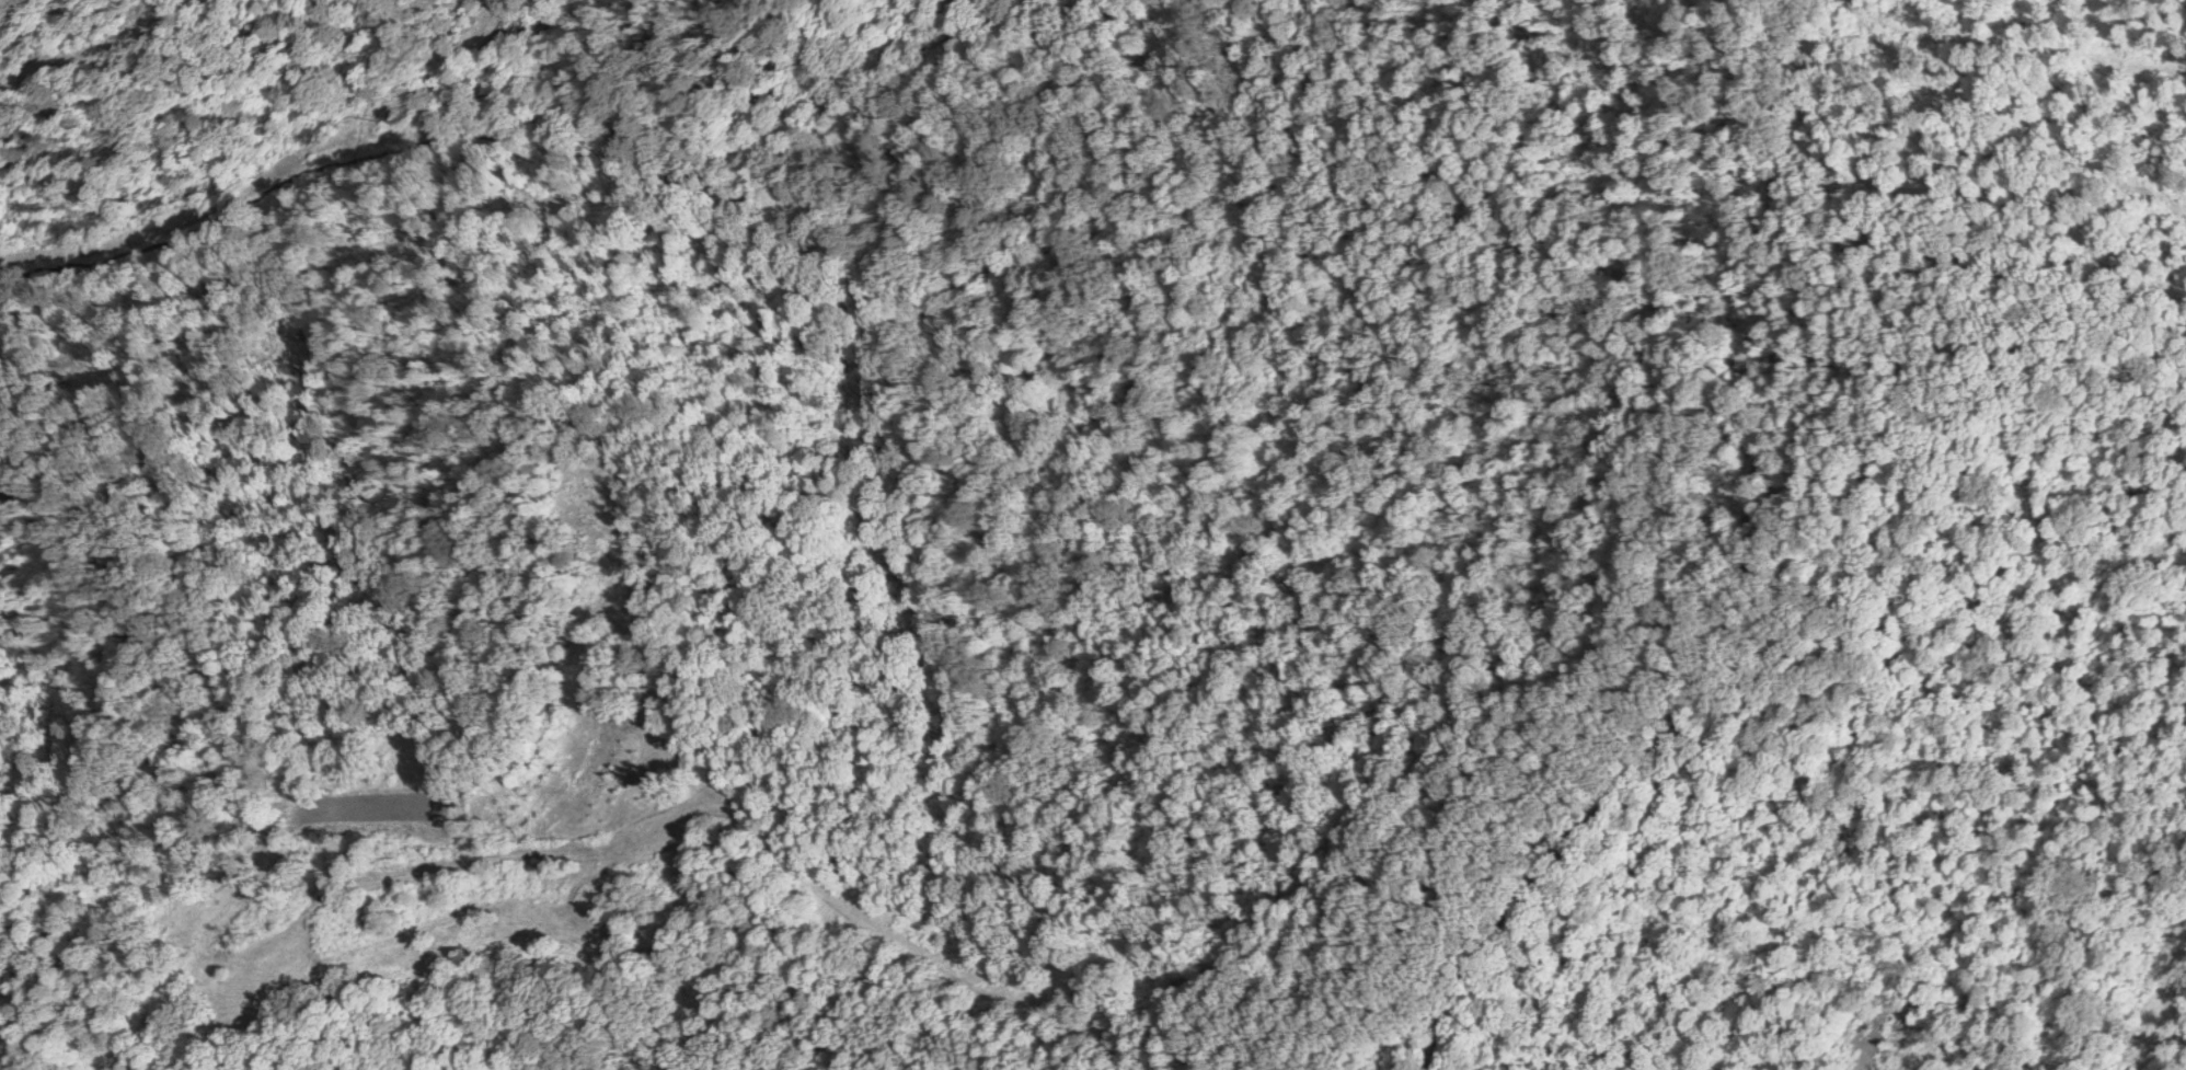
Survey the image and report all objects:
road: (1726, 583)

